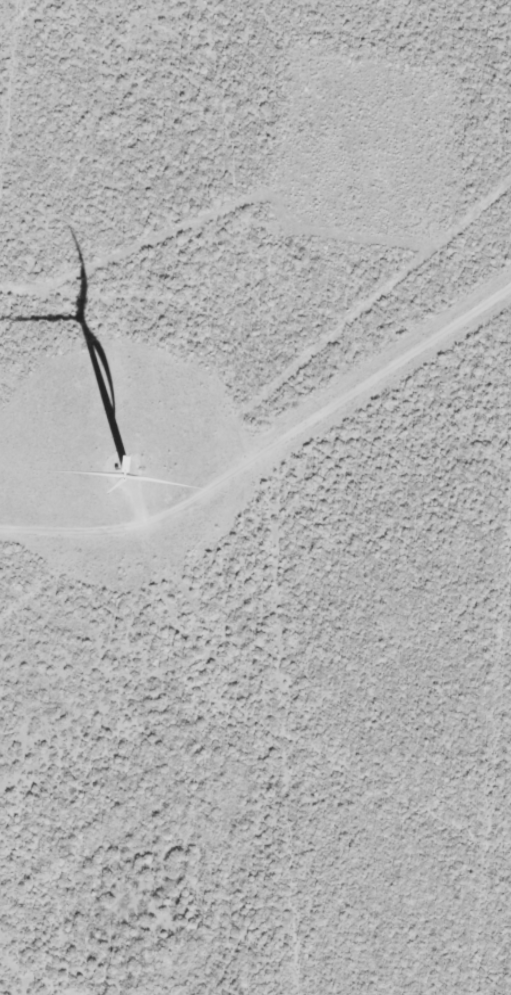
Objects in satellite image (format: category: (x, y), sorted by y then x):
road: (84, 75)
wind turbine: (117, 473)

